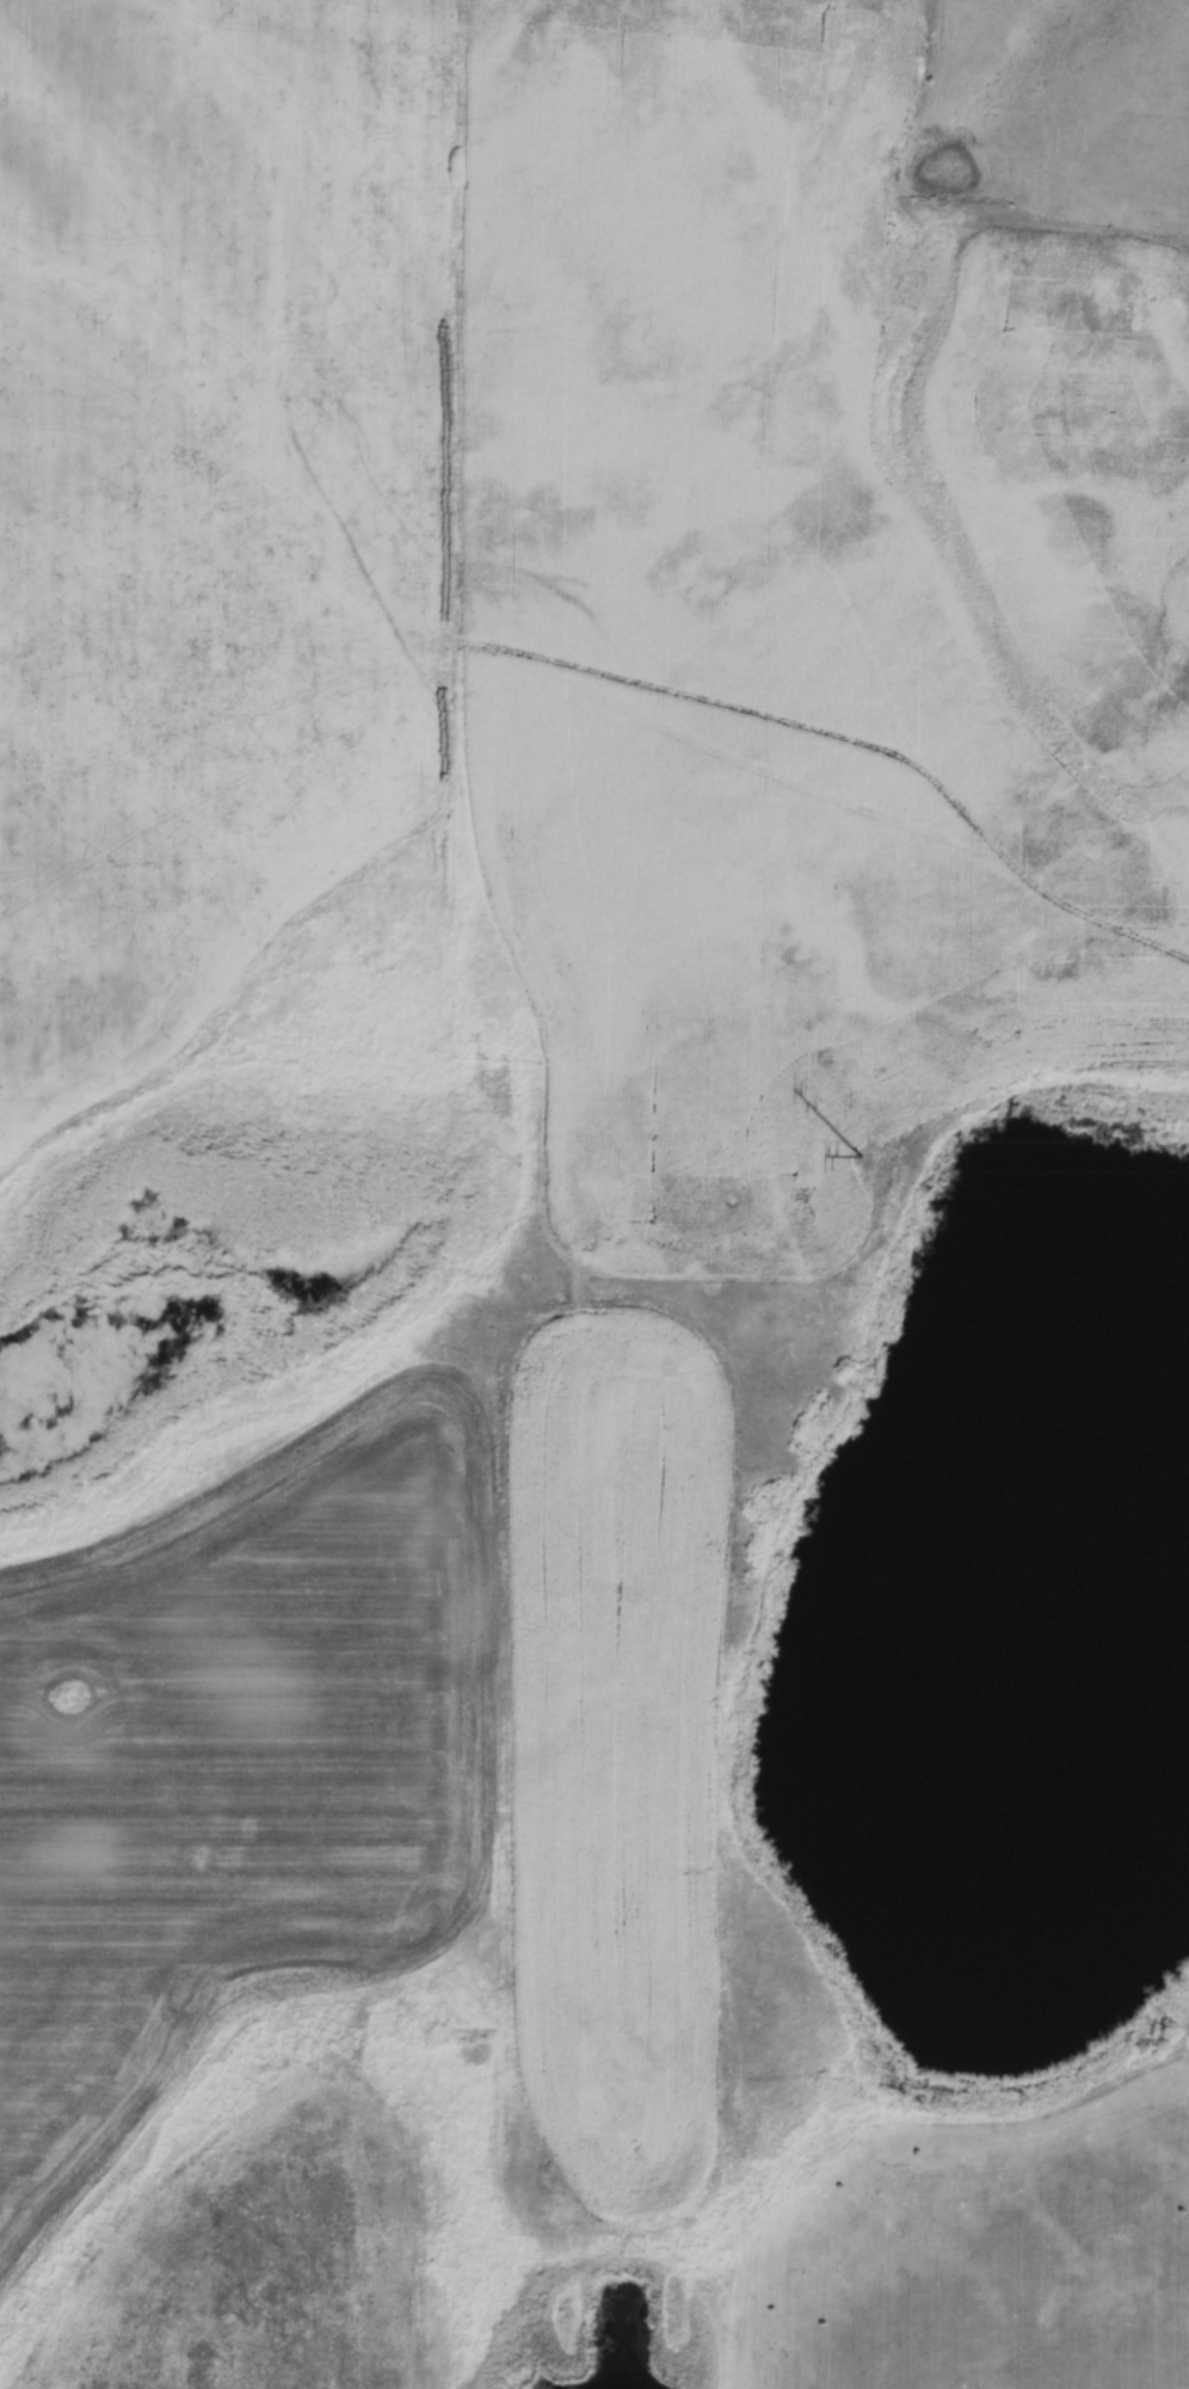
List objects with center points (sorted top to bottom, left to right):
power tower: (838, 1149)

